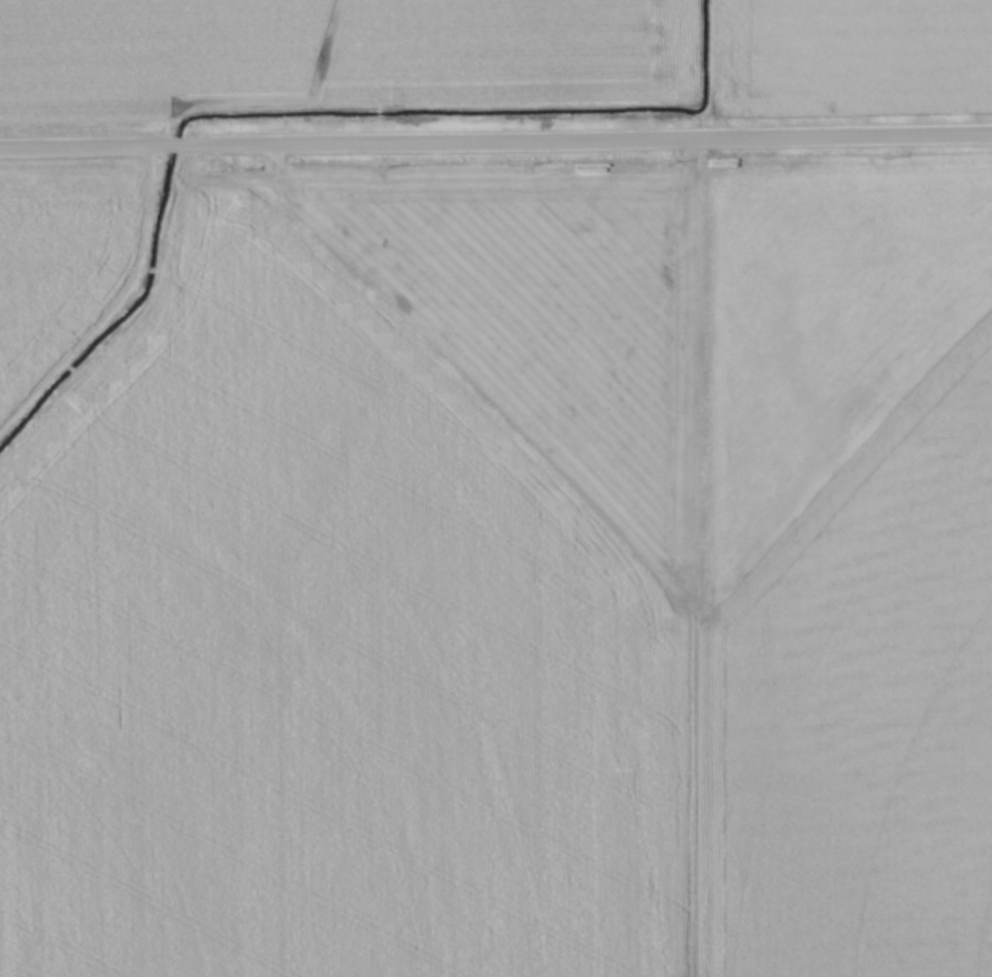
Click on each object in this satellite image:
crop: (487, 62)
road: (496, 142)
crop: (497, 567)

